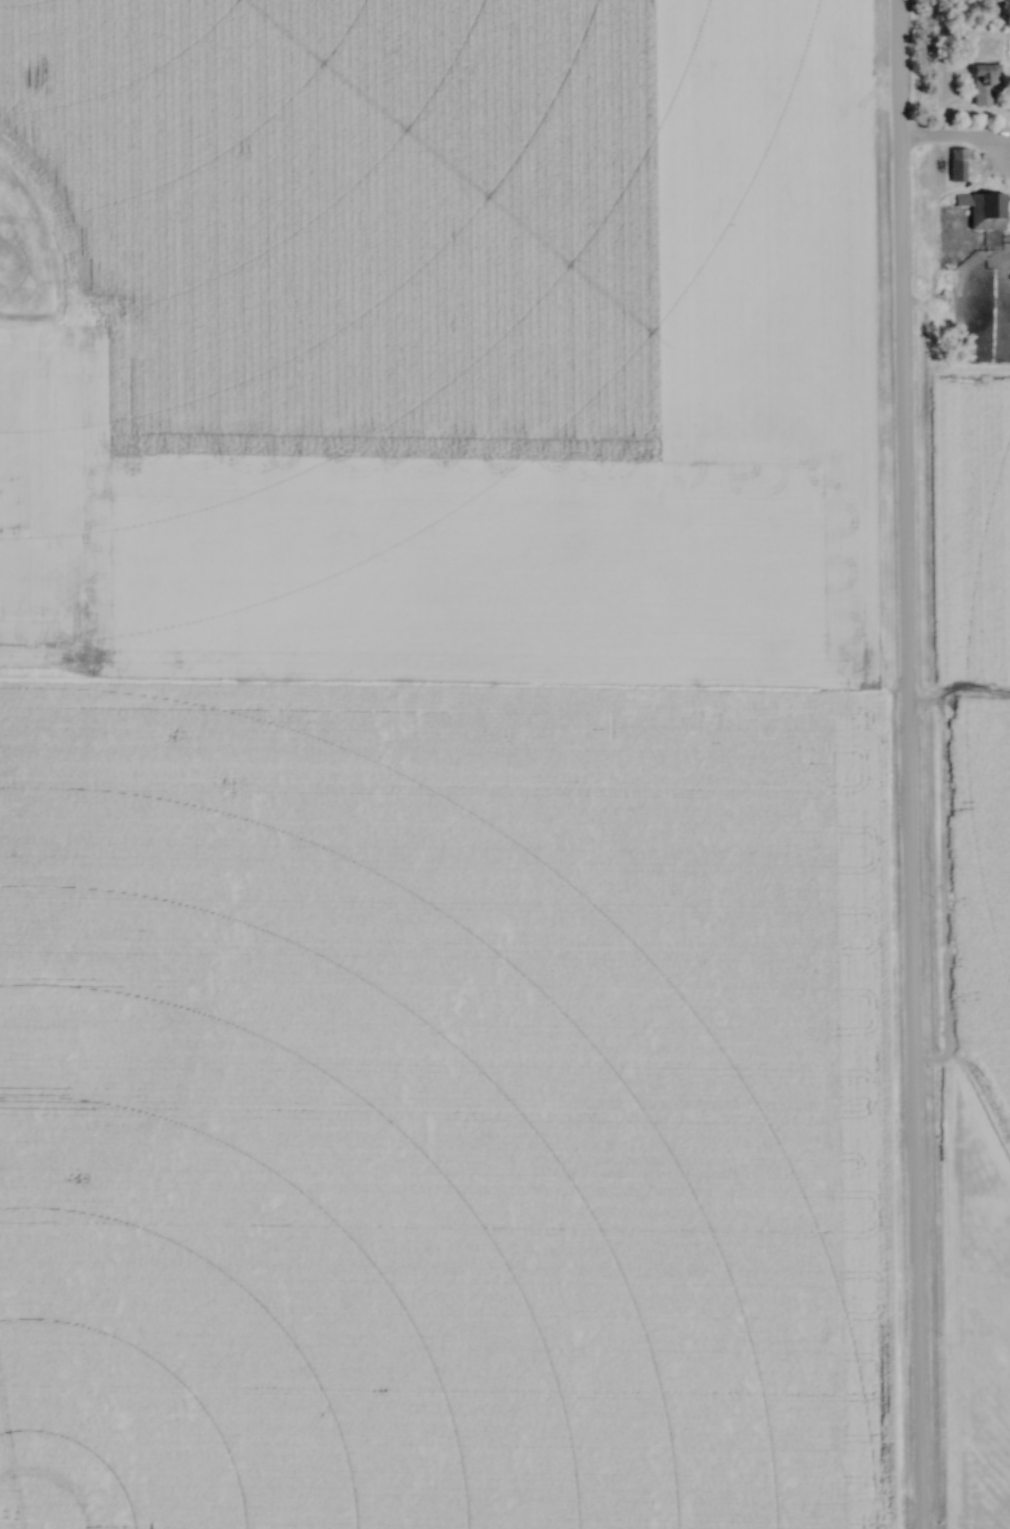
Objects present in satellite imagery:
building: (983, 85)
building: (957, 166)
building: (983, 212)
road: (904, 764)

